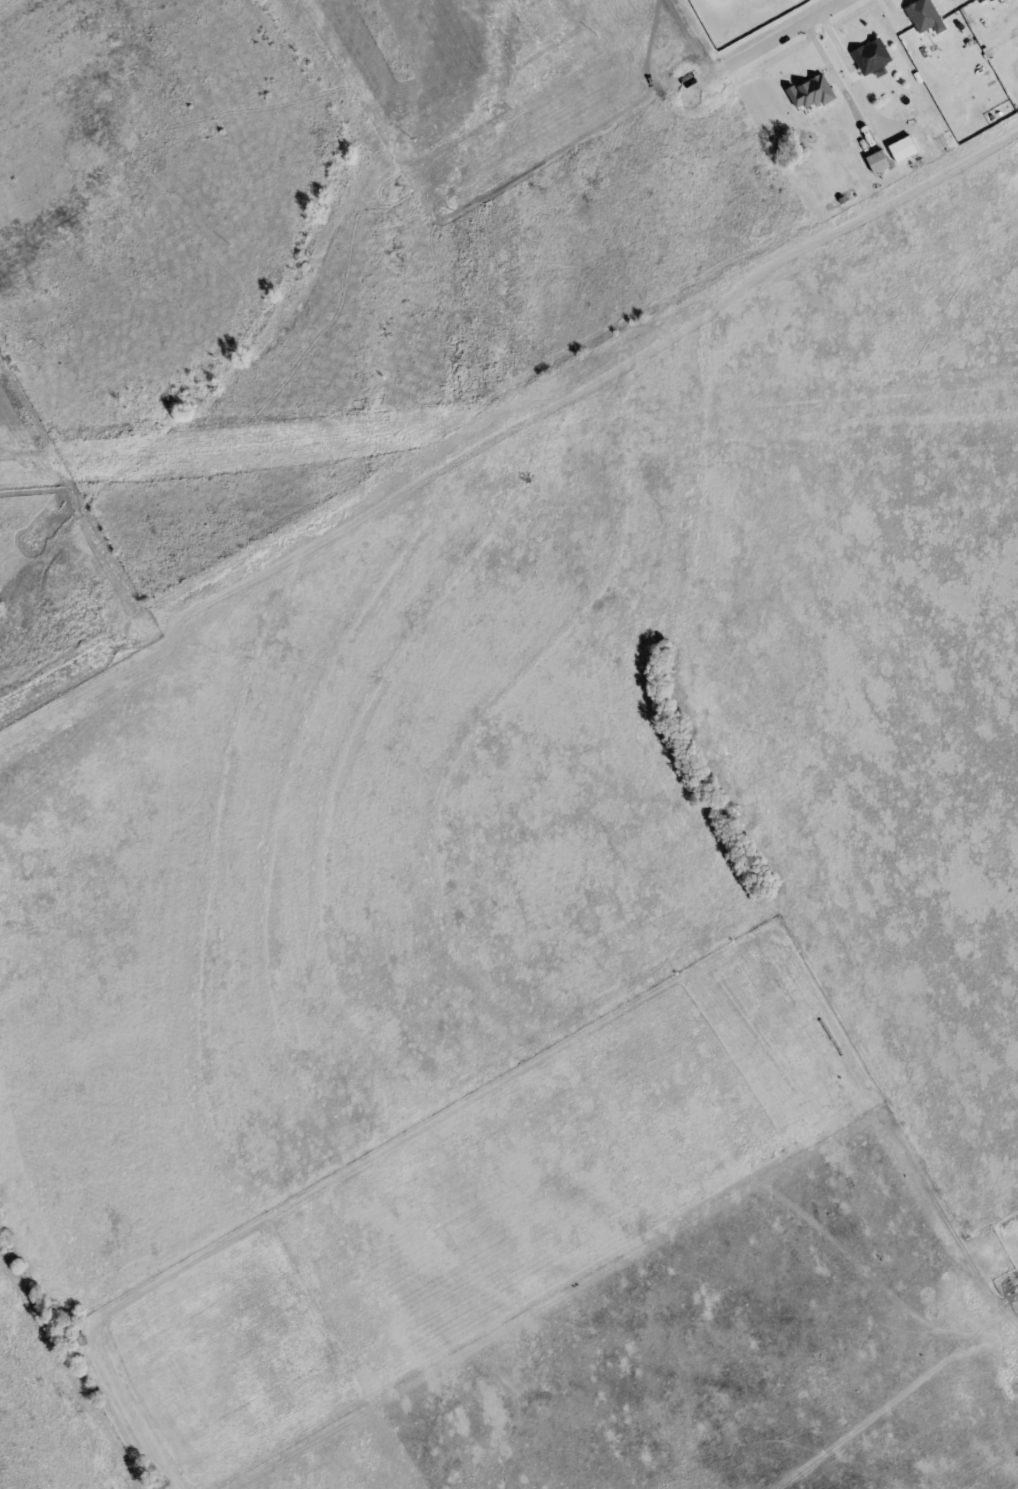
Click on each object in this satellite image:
road: (770, 38)
building: (867, 56)
building: (805, 92)
building: (873, 161)

